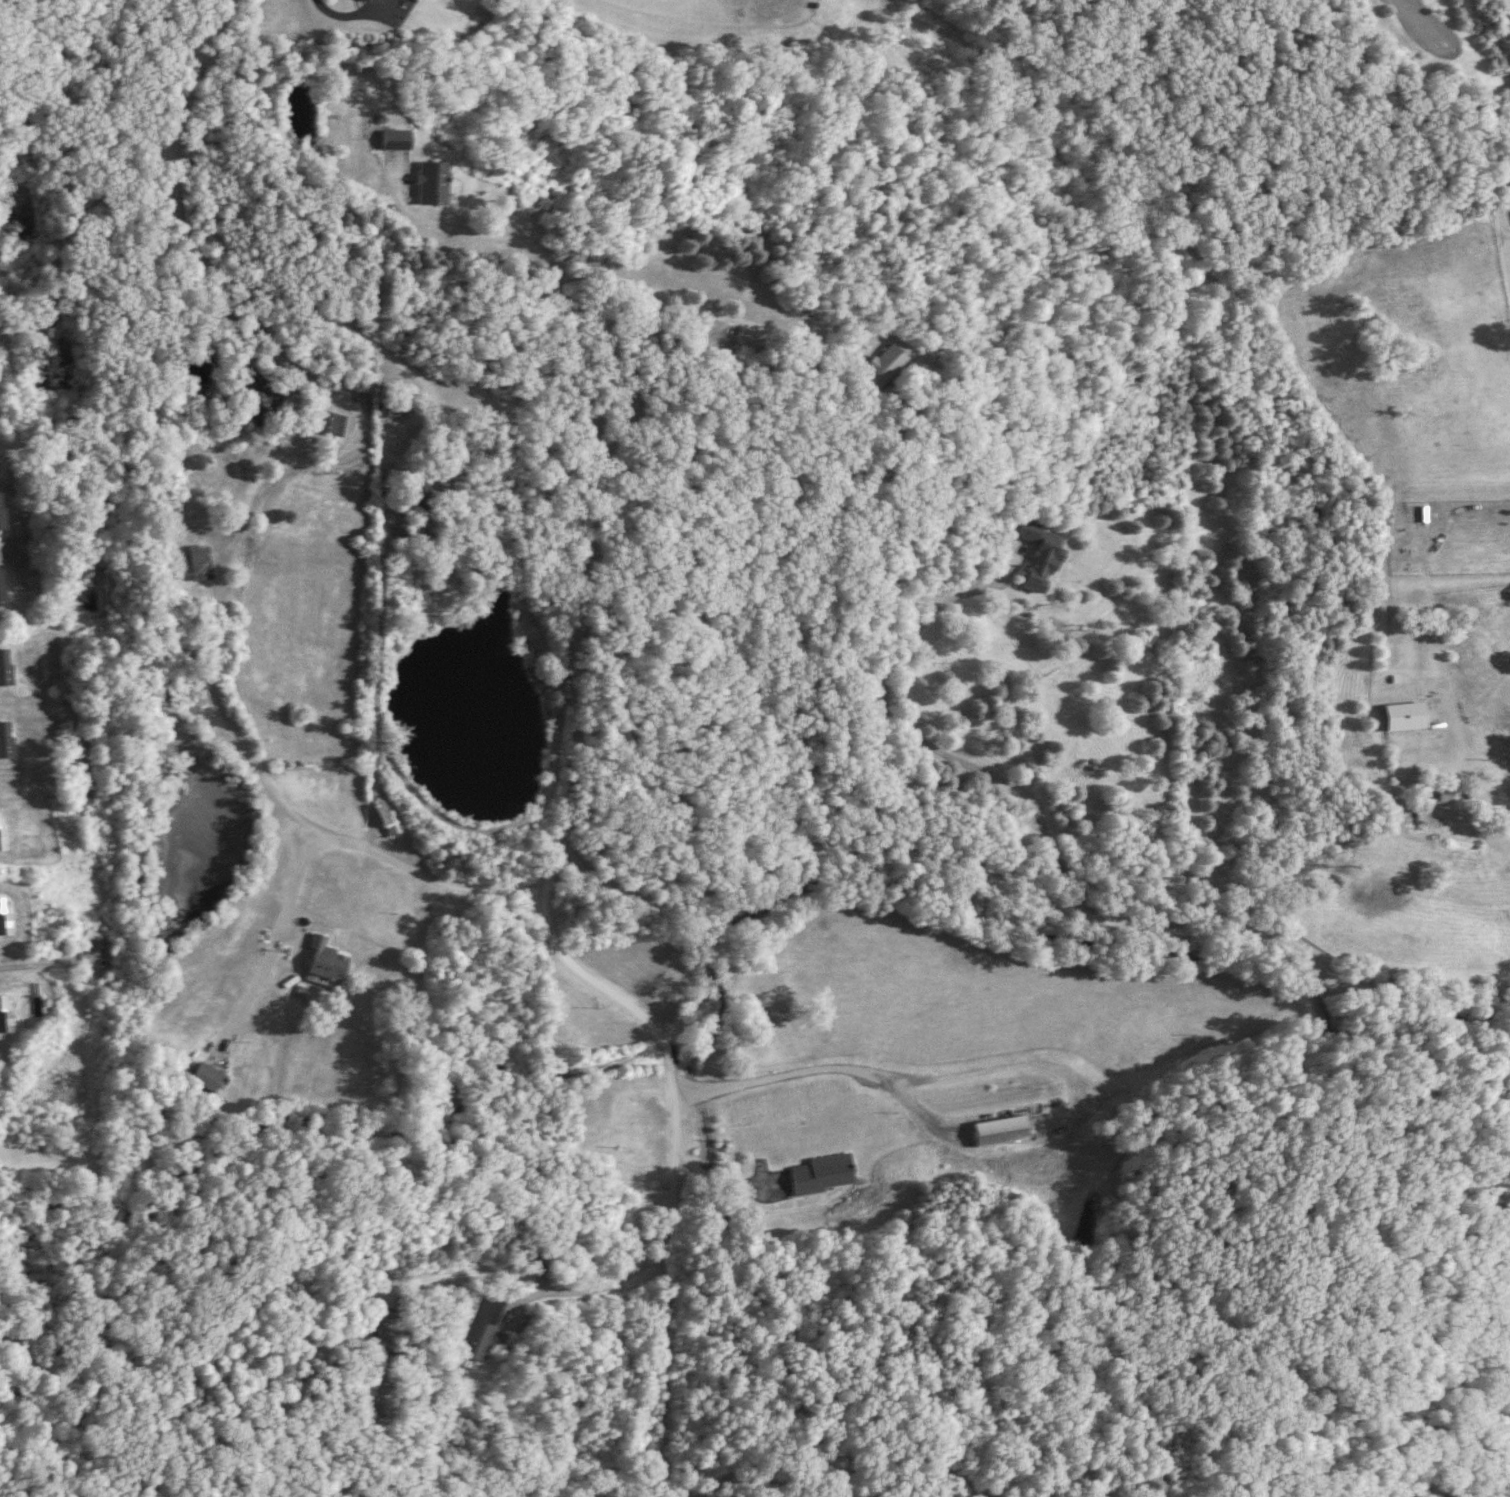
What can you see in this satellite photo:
building: (365, 0)
building: (395, 140)
building: (432, 184)
road: (475, 229)
road: (700, 306)
road: (252, 323)
building: (750, 338)
building: (880, 366)
building: (255, 399)
building: (397, 410)
building: (331, 422)
building: (418, 488)
building: (0, 520)
building: (400, 530)
road: (384, 535)
building: (1040, 557)
building: (201, 560)
building: (0, 586)
building: (4, 665)
building: (1406, 715)
road: (573, 721)
building: (6, 738)
road: (936, 747)
road: (1473, 767)
building: (1444, 796)
building: (386, 820)
building: (1, 831)
road: (333, 843)
building: (324, 961)
road: (33, 966)
road: (822, 1068)
building: (208, 1077)
building: (1002, 1131)
road: (674, 1159)
building: (823, 1174)
road: (718, 1175)
building: (484, 1328)

